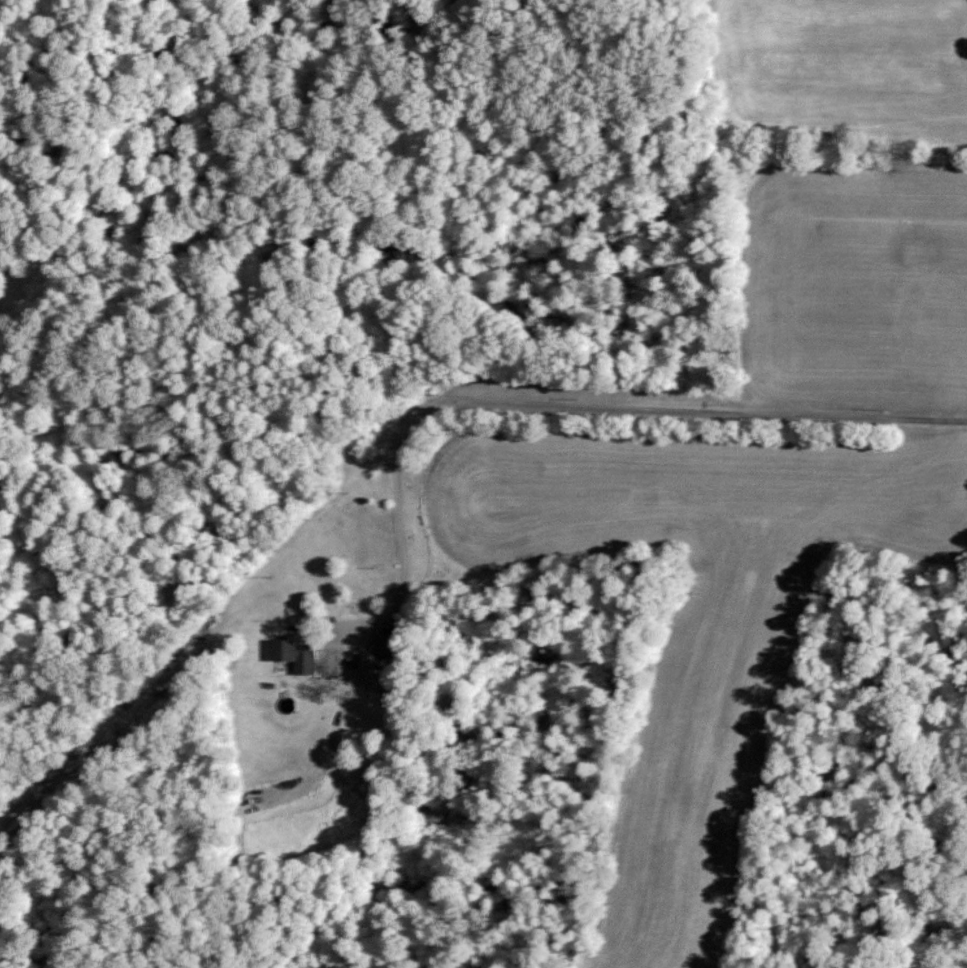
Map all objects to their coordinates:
road: (566, 401)
building: (296, 655)

